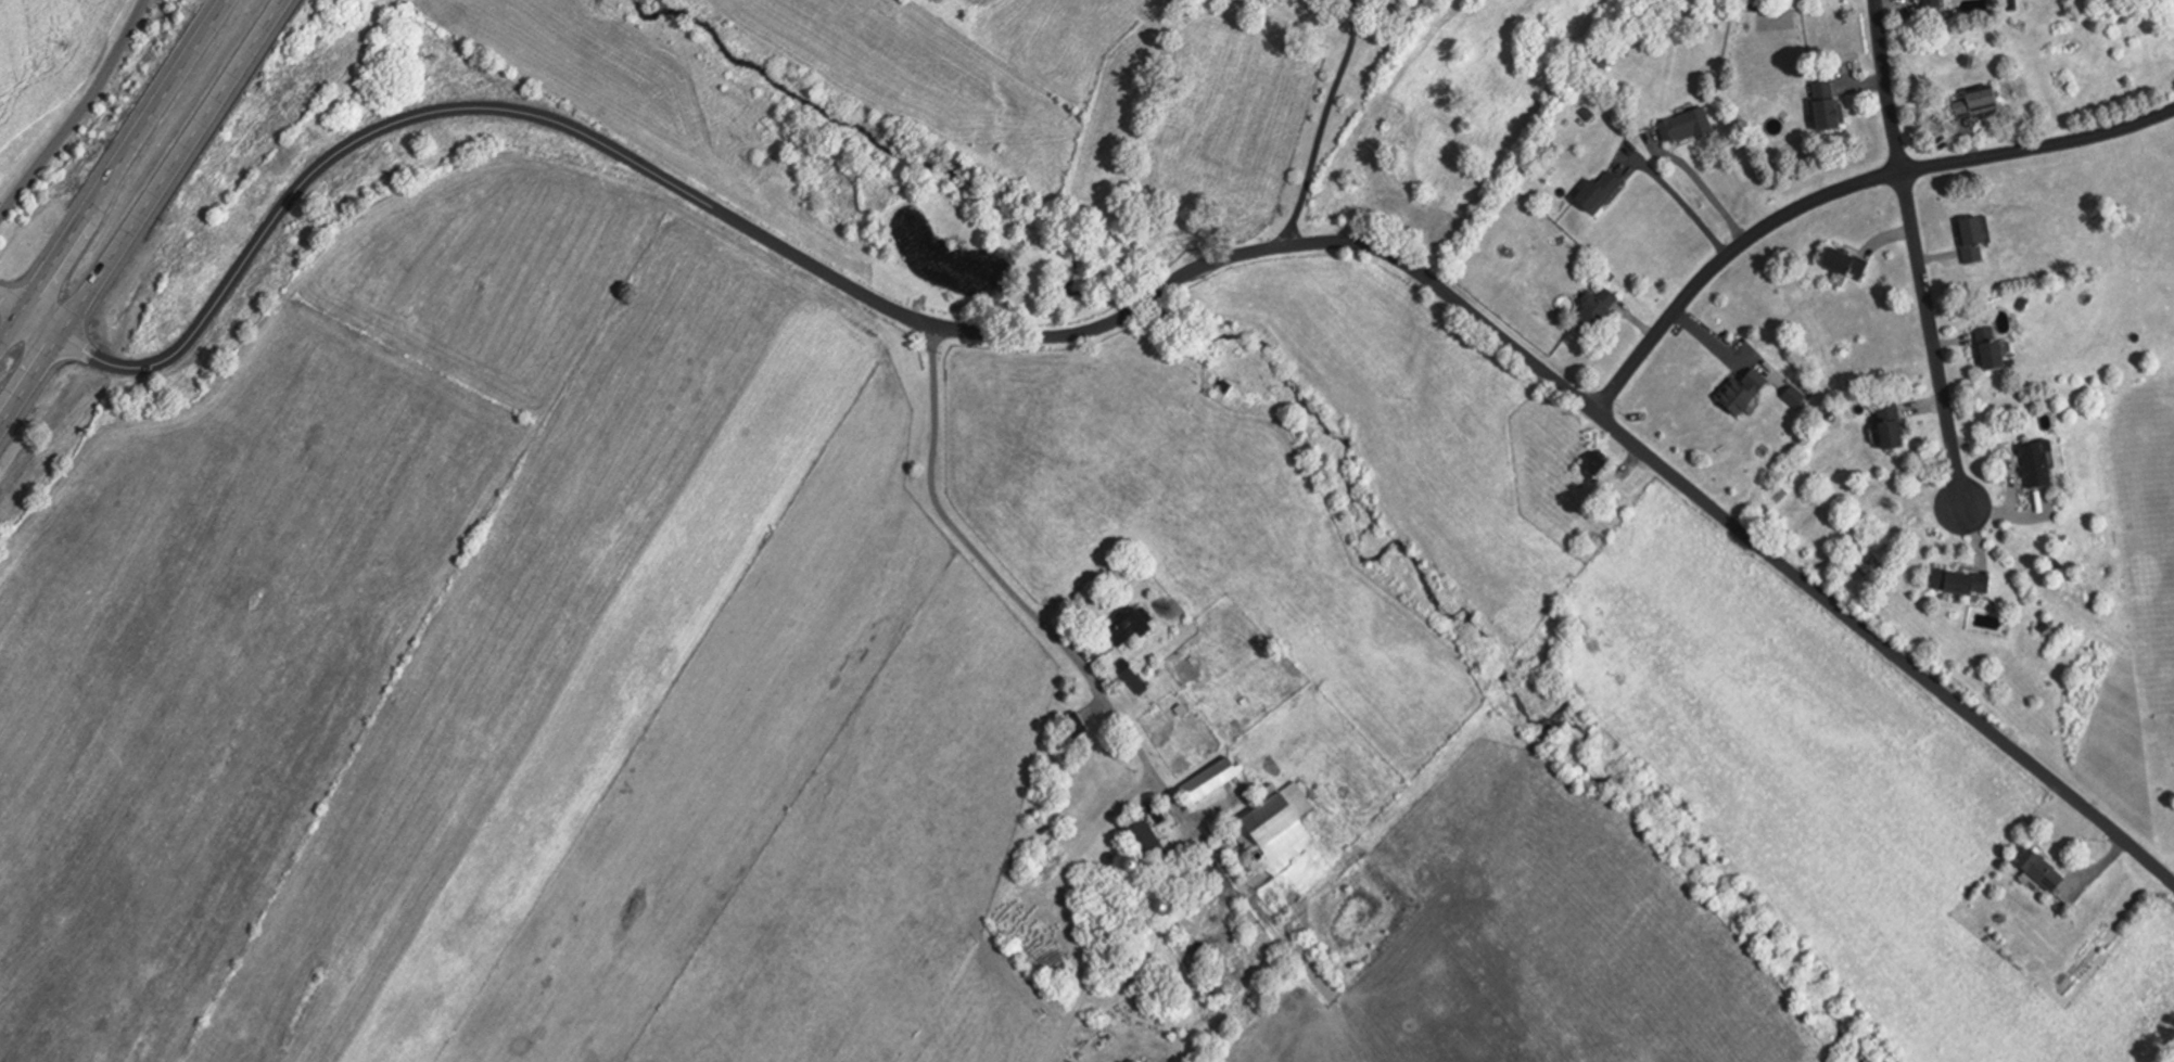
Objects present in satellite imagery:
building: (1922, 2)
road: (1882, 88)
building: (1970, 100)
building: (1813, 103)
road: (510, 110)
road: (78, 116)
road: (1318, 121)
building: (1676, 125)
road: (137, 155)
building: (1588, 190)
road: (1701, 191)
road: (1841, 192)
road: (1686, 207)
road: (148, 215)
building: (1960, 238)
building: (1833, 263)
road: (1167, 278)
road: (15, 300)
building: (1587, 307)
road: (15, 332)
road: (1924, 340)
building: (1979, 347)
building: (1738, 388)
building: (1878, 425)
building: (1585, 462)
building: (2026, 463)
road: (1737, 535)
building: (1949, 583)
road: (1041, 627)
building: (1113, 628)
building: (1064, 724)
building: (1197, 781)
building: (1267, 828)
building: (1130, 834)
building: (2030, 870)

